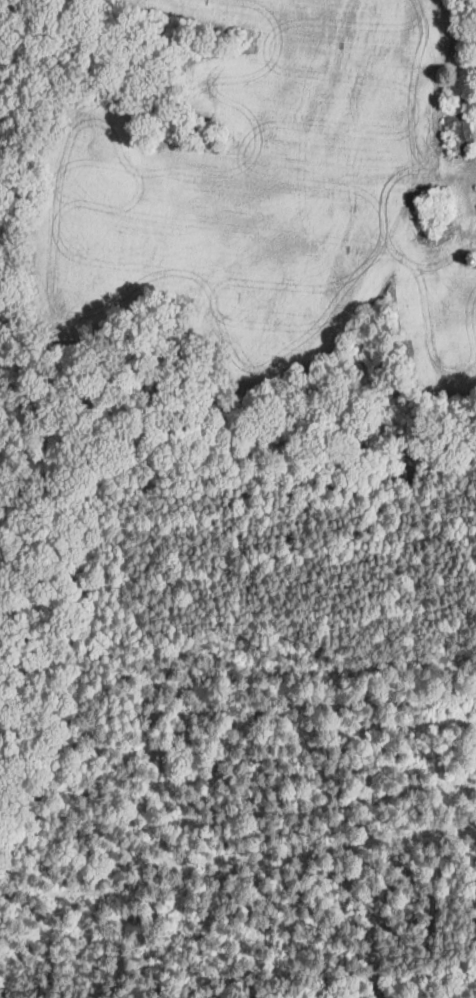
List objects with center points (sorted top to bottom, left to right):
building: (458, 136)

